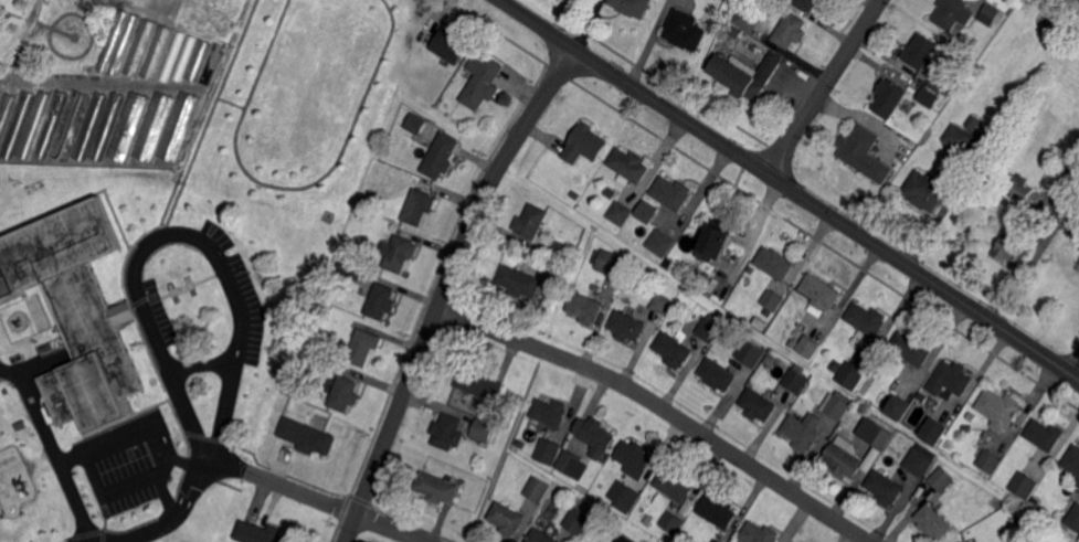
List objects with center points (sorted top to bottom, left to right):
building: (807, 3)
building: (632, 7)
building: (953, 13)
building: (988, 14)
building: (748, 19)
building: (685, 30)
building: (790, 31)
building: (736, 32)
building: (119, 41)
building: (447, 46)
building: (139, 47)
building: (919, 51)
building: (157, 52)
building: (171, 57)
building: (183, 59)
building: (198, 60)
building: (211, 64)
building: (745, 74)
building: (483, 79)
building: (941, 85)
road: (824, 87)
building: (1, 95)
building: (889, 97)
building: (928, 97)
road: (230, 102)
building: (6, 111)
road: (208, 117)
building: (973, 121)
building: (416, 123)
building: (17, 124)
building: (51, 124)
building: (33, 125)
building: (106, 125)
building: (129, 125)
building: (155, 125)
building: (70, 126)
building: (89, 126)
building: (180, 126)
building: (959, 138)
building: (583, 144)
building: (864, 152)
building: (442, 155)
building: (630, 163)
building: (1070, 177)
road: (286, 185)
road: (790, 188)
building: (1022, 189)
building: (925, 191)
building: (673, 192)
building: (573, 195)
road: (764, 204)
building: (420, 206)
building: (645, 210)
building: (620, 212)
building: (531, 221)
road: (172, 232)
building: (1077, 233)
building: (660, 243)
building: (715, 243)
building: (1012, 249)
building: (401, 253)
building: (561, 253)
building: (357, 254)
building: (1, 258)
building: (610, 262)
building: (774, 263)
building: (352, 267)
building: (519, 280)
building: (7, 286)
building: (596, 286)
road: (445, 287)
building: (625, 287)
building: (821, 291)
building: (325, 295)
building: (772, 299)
building: (381, 301)
building: (662, 302)
building: (321, 306)
building: (585, 308)
building: (77, 310)
building: (867, 319)
building: (627, 326)
building: (710, 328)
building: (363, 347)
building: (807, 347)
building: (912, 348)
building: (674, 350)
building: (750, 355)
road: (1073, 360)
building: (325, 363)
road: (203, 364)
building: (835, 364)
road: (9, 370)
building: (850, 374)
building: (718, 375)
building: (948, 379)
building: (795, 381)
building: (479, 383)
building: (345, 394)
building: (759, 404)
building: (837, 404)
road: (662, 406)
building: (896, 406)
building: (999, 408)
building: (550, 412)
building: (483, 429)
building: (446, 431)
building: (934, 431)
building: (594, 432)
building: (803, 432)
building: (876, 433)
building: (1045, 434)
road: (45, 435)
building: (307, 436)
building: (520, 443)
building: (547, 453)
road: (163, 454)
building: (848, 457)
road: (189, 458)
building: (635, 458)
building: (921, 459)
building: (990, 460)
building: (1072, 460)
building: (569, 463)
building: (943, 479)
building: (1078, 483)
building: (675, 485)
building: (1025, 485)
building: (436, 488)
building: (886, 488)
building: (538, 489)
building: (625, 496)
road: (318, 499)
building: (719, 511)
road: (173, 514)
building: (1020, 518)
building: (1073, 518)
building: (507, 519)
building: (579, 521)
building: (933, 521)
building: (673, 522)
building: (261, 533)
building: (760, 533)
building: (540, 536)
building: (625, 539)
building: (717, 540)
building: (1072, 541)

